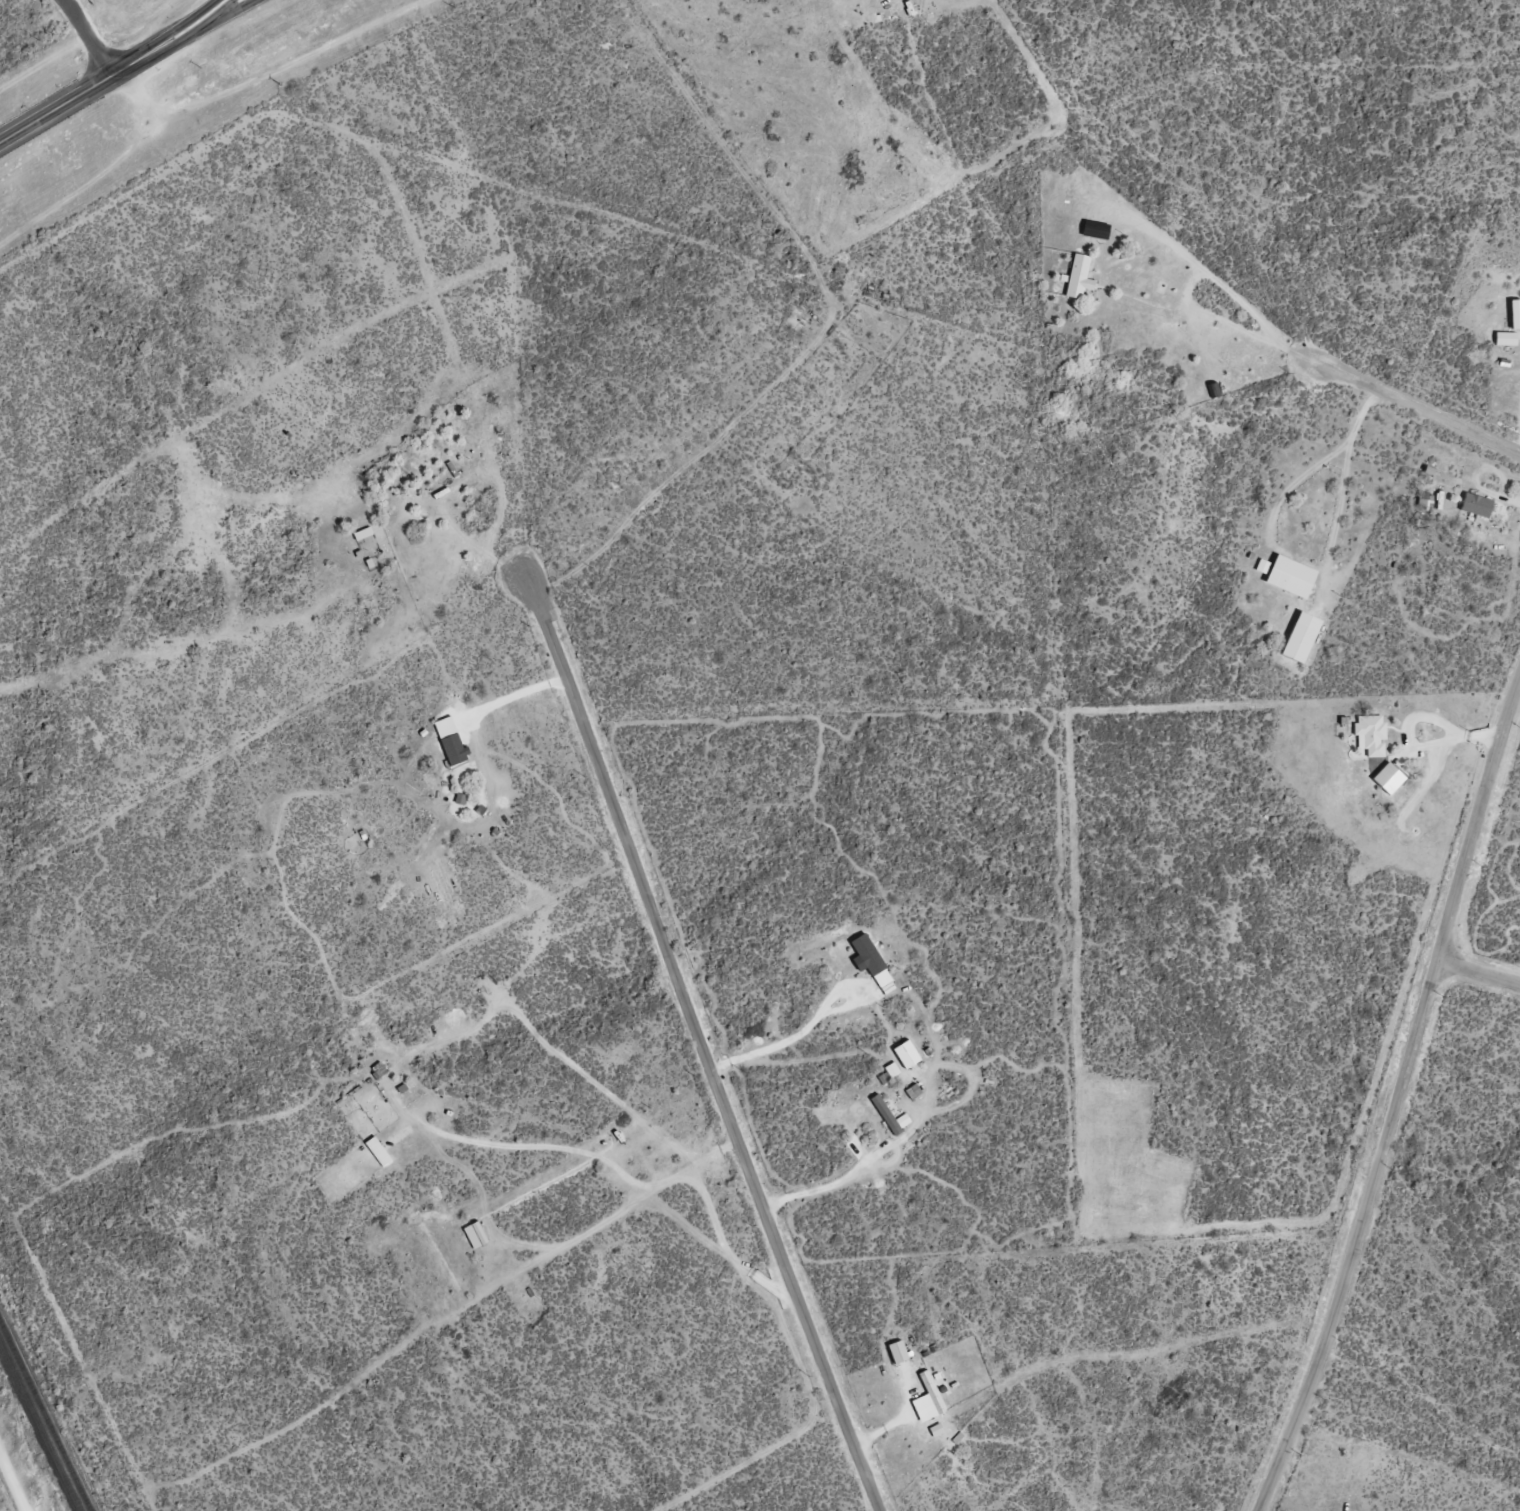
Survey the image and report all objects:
road: (88, 37)
road: (186, 37)
road: (113, 73)
building: (1078, 277)
building: (1514, 315)
building: (1212, 391)
road: (1418, 407)
building: (1423, 500)
building: (1475, 506)
building: (362, 534)
building: (1285, 575)
building: (1299, 637)
building: (1371, 734)
road: (1479, 972)
road: (703, 1048)
road: (1397, 1099)
building: (890, 1117)
building: (896, 1353)
building: (931, 1393)
railway: (45, 1416)
railway: (40, 1426)
road: (18, 1471)

